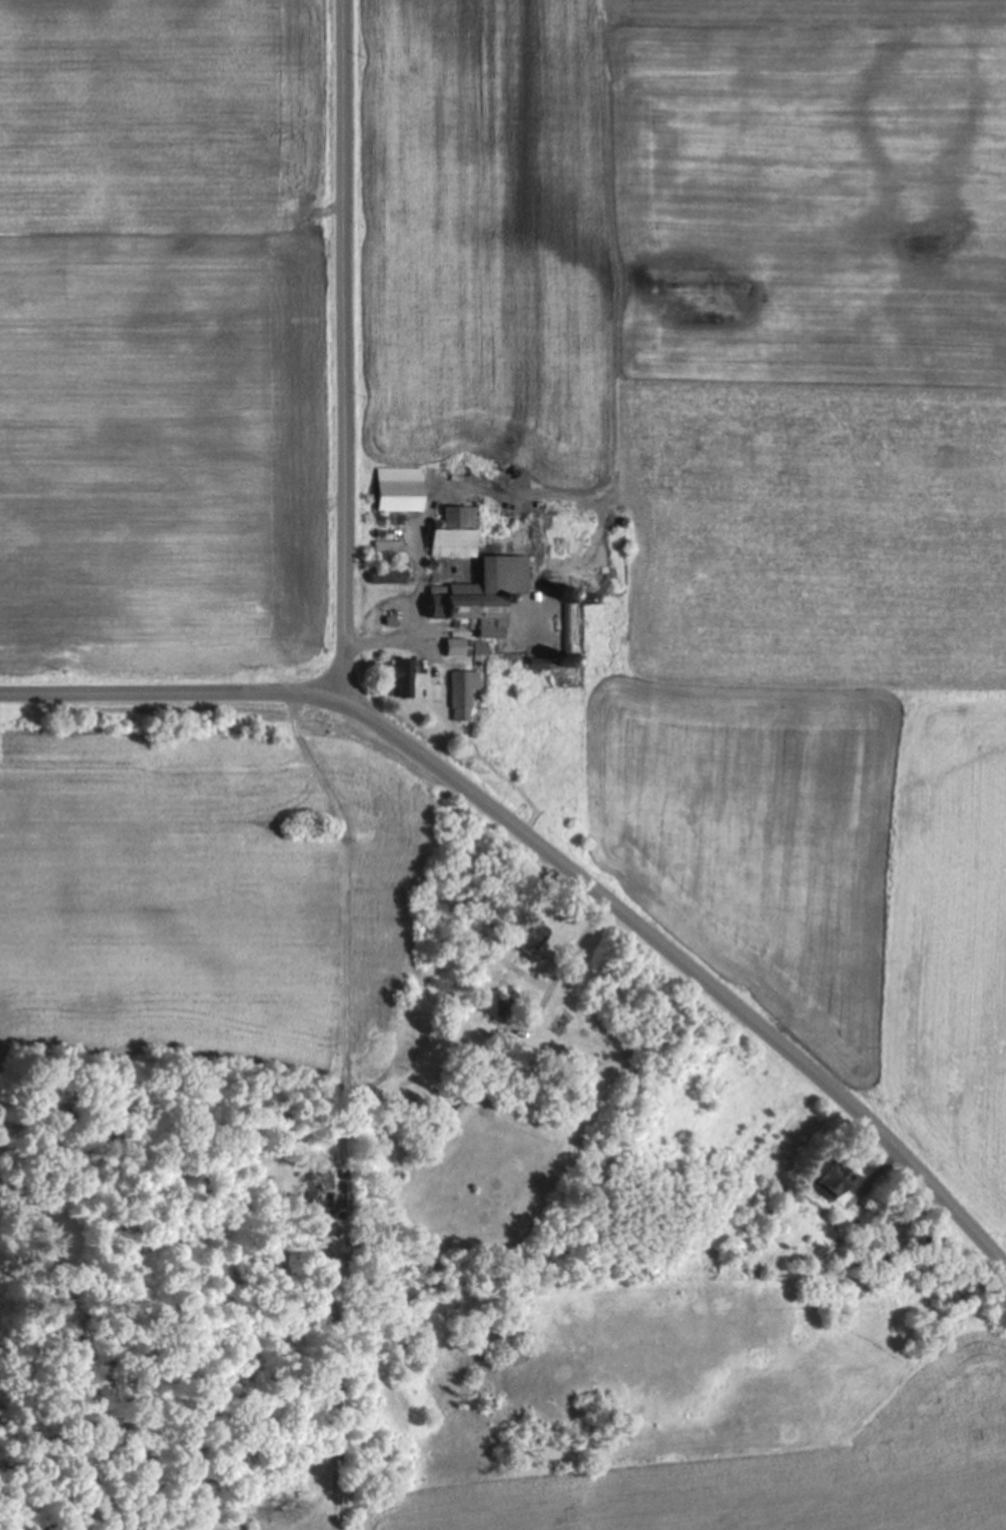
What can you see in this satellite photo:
road: (345, 355)
building: (397, 490)
building: (454, 534)
building: (386, 550)
building: (391, 575)
building: (482, 595)
building: (455, 647)
building: (479, 648)
building: (536, 664)
building: (398, 679)
building: (461, 694)
road: (554, 869)
building: (528, 937)
road: (560, 972)
building: (492, 1007)
building: (832, 1182)
building: (314, 1190)
building: (907, 1265)

